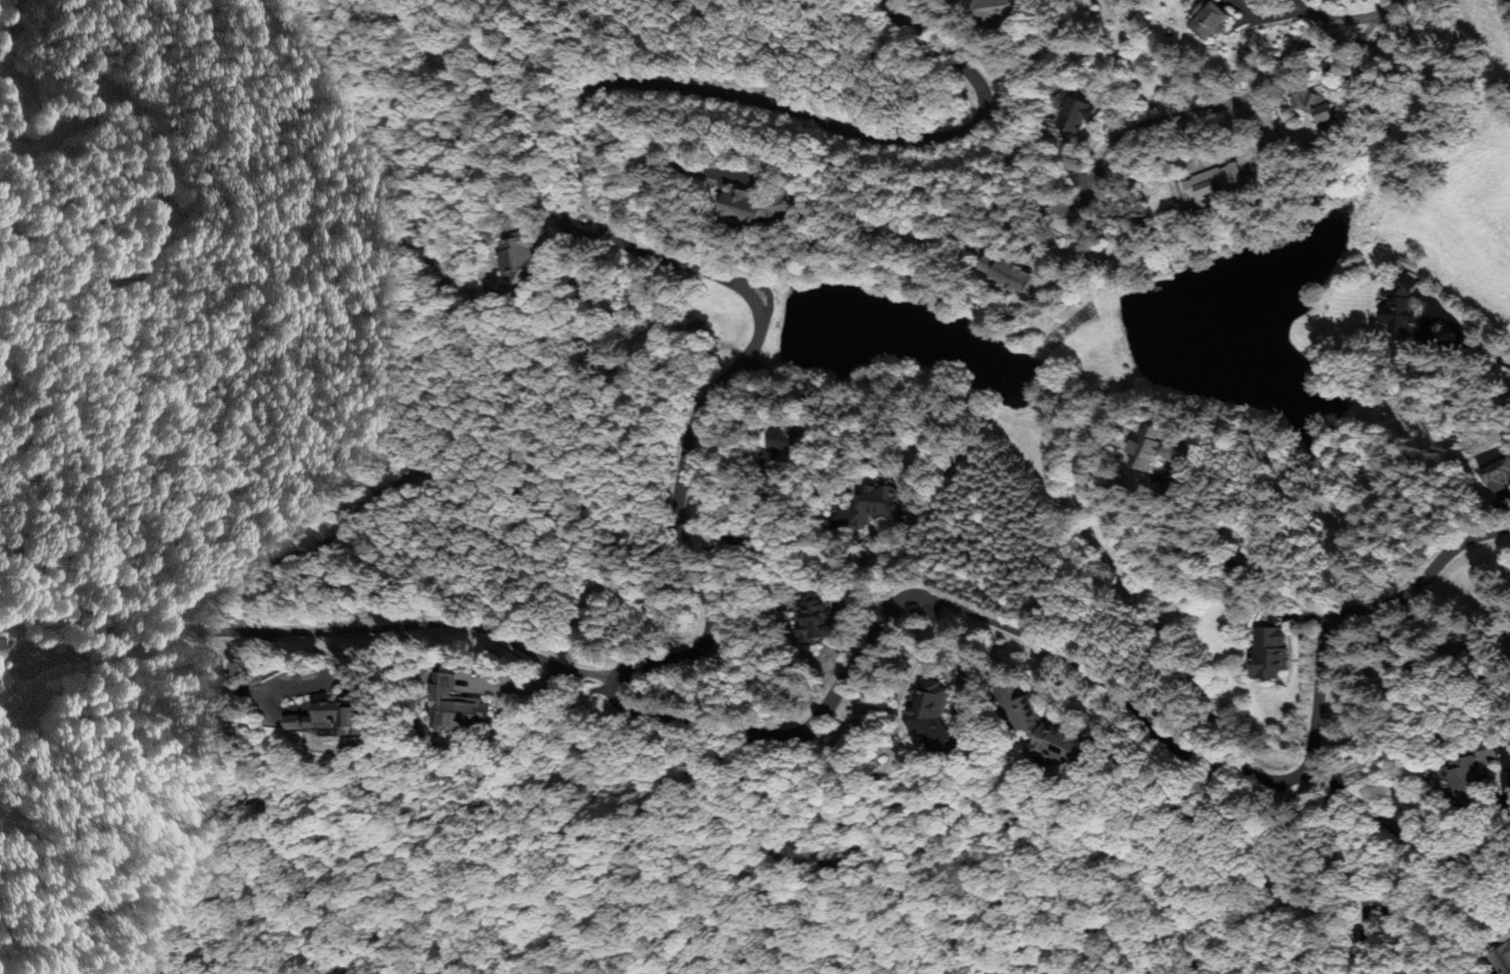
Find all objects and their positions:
building: (1008, 11)
building: (1215, 18)
road: (10, 27)
road: (1164, 61)
building: (1327, 108)
road: (1194, 111)
road: (516, 112)
building: (1078, 113)
building: (770, 204)
building: (526, 260)
building: (1022, 272)
building: (1405, 303)
building: (794, 436)
building: (1500, 473)
building: (881, 504)
building: (815, 618)
road: (391, 625)
building: (1268, 653)
road: (680, 656)
building: (9, 688)
building: (457, 704)
building: (927, 711)
building: (1025, 716)
building: (326, 718)
building: (1064, 745)
building: (1478, 782)
road: (1398, 837)
road: (1357, 864)
building: (1505, 960)

